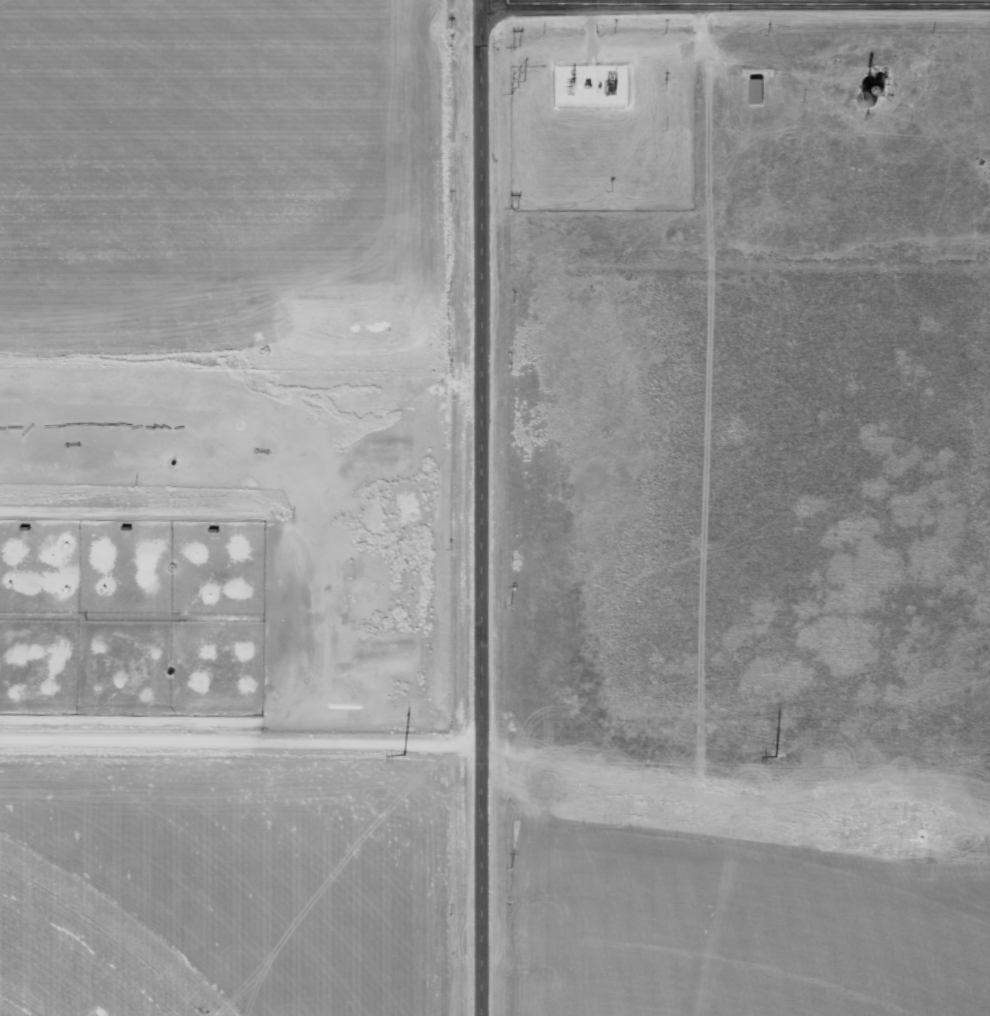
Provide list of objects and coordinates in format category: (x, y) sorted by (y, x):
road: (484, 1)
road: (737, 2)
building: (757, 92)
building: (872, 99)
road: (244, 411)
road: (489, 508)
road: (245, 739)

